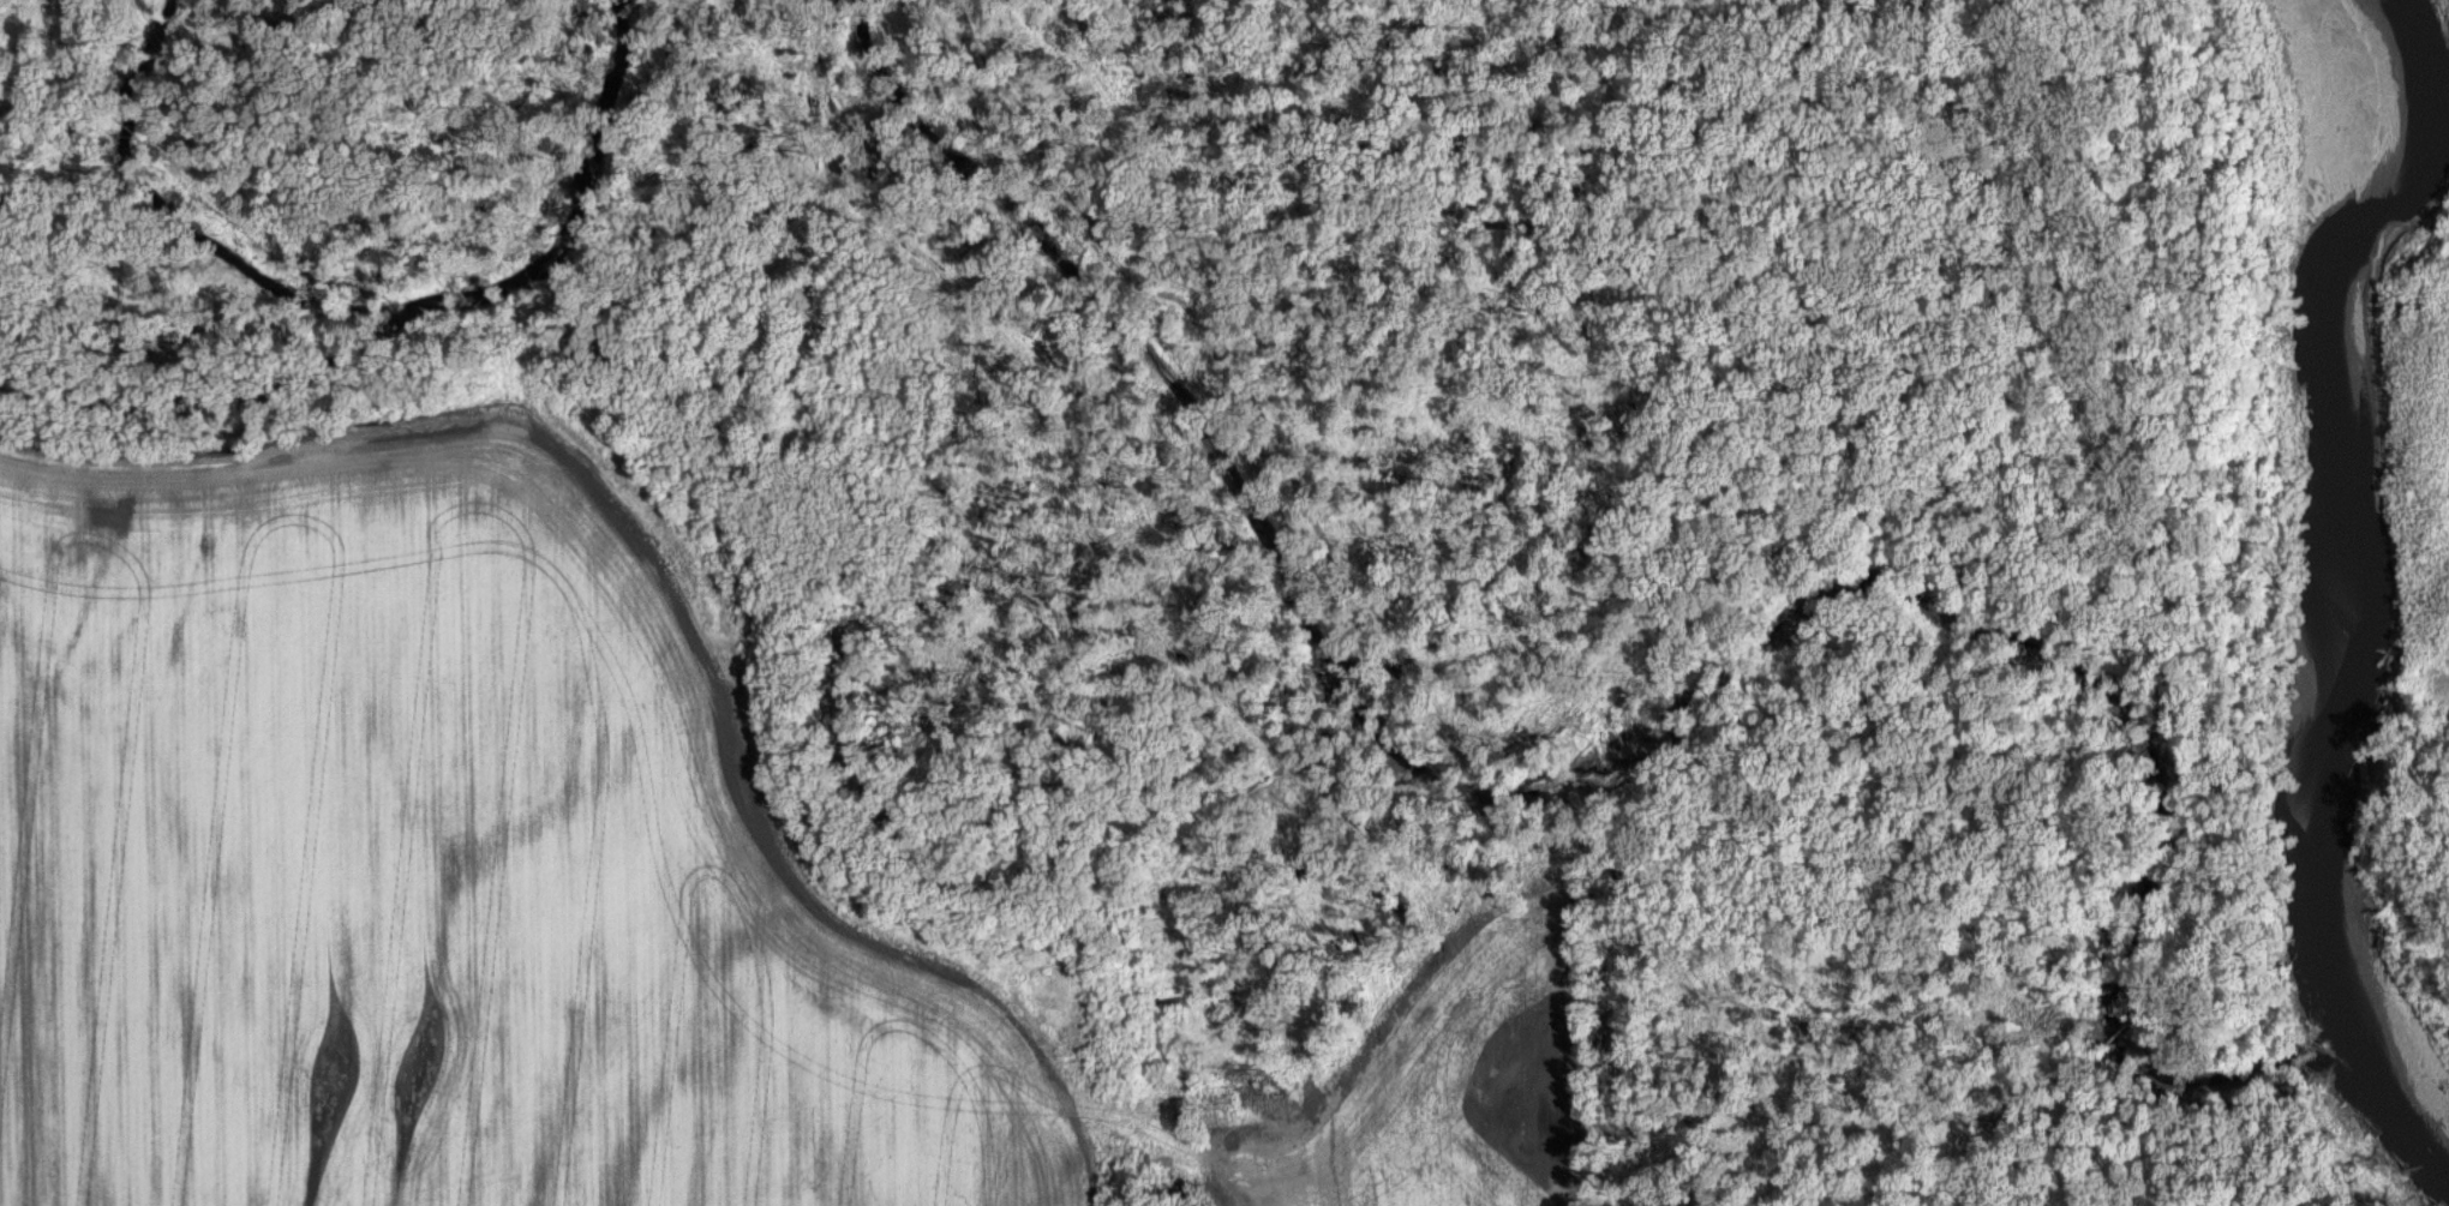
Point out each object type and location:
river: (2309, 581)

